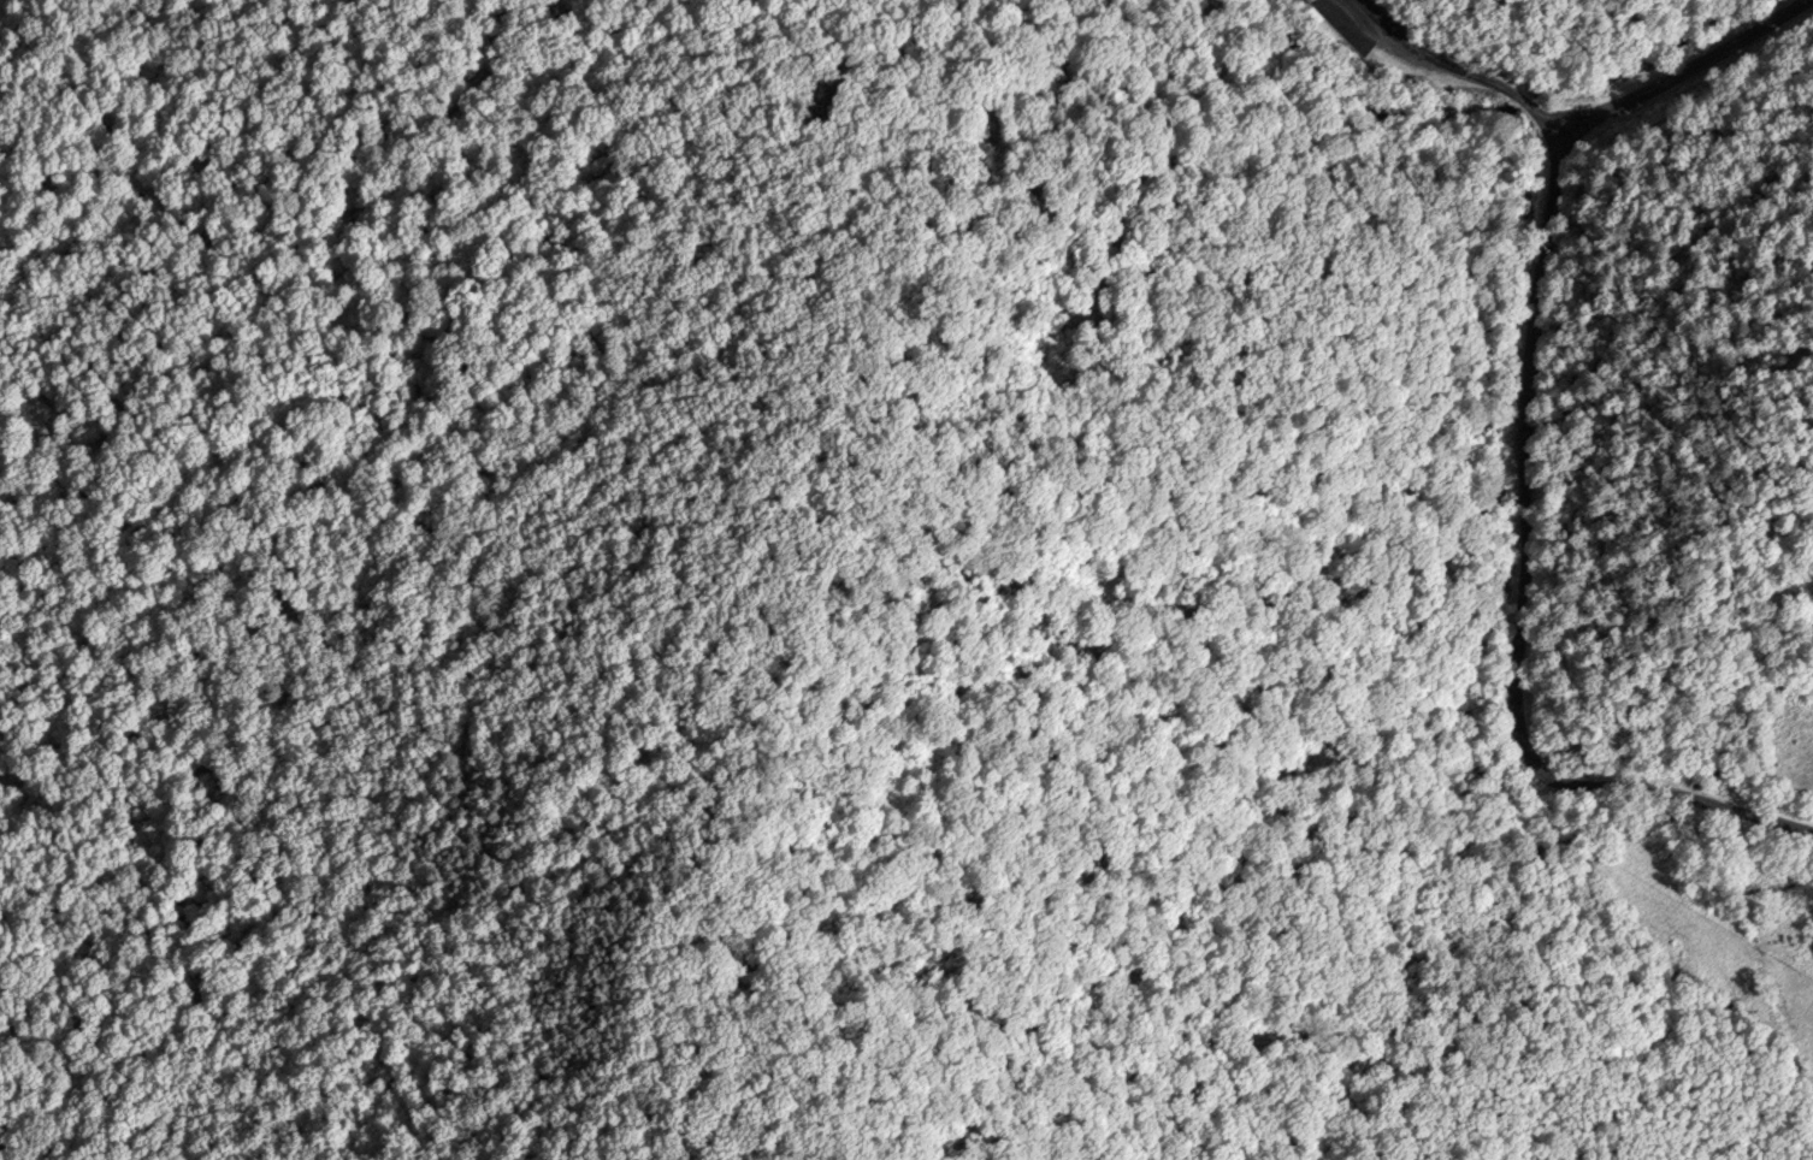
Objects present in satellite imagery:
road: (1458, 69)
road: (1679, 69)
road: (1519, 591)

